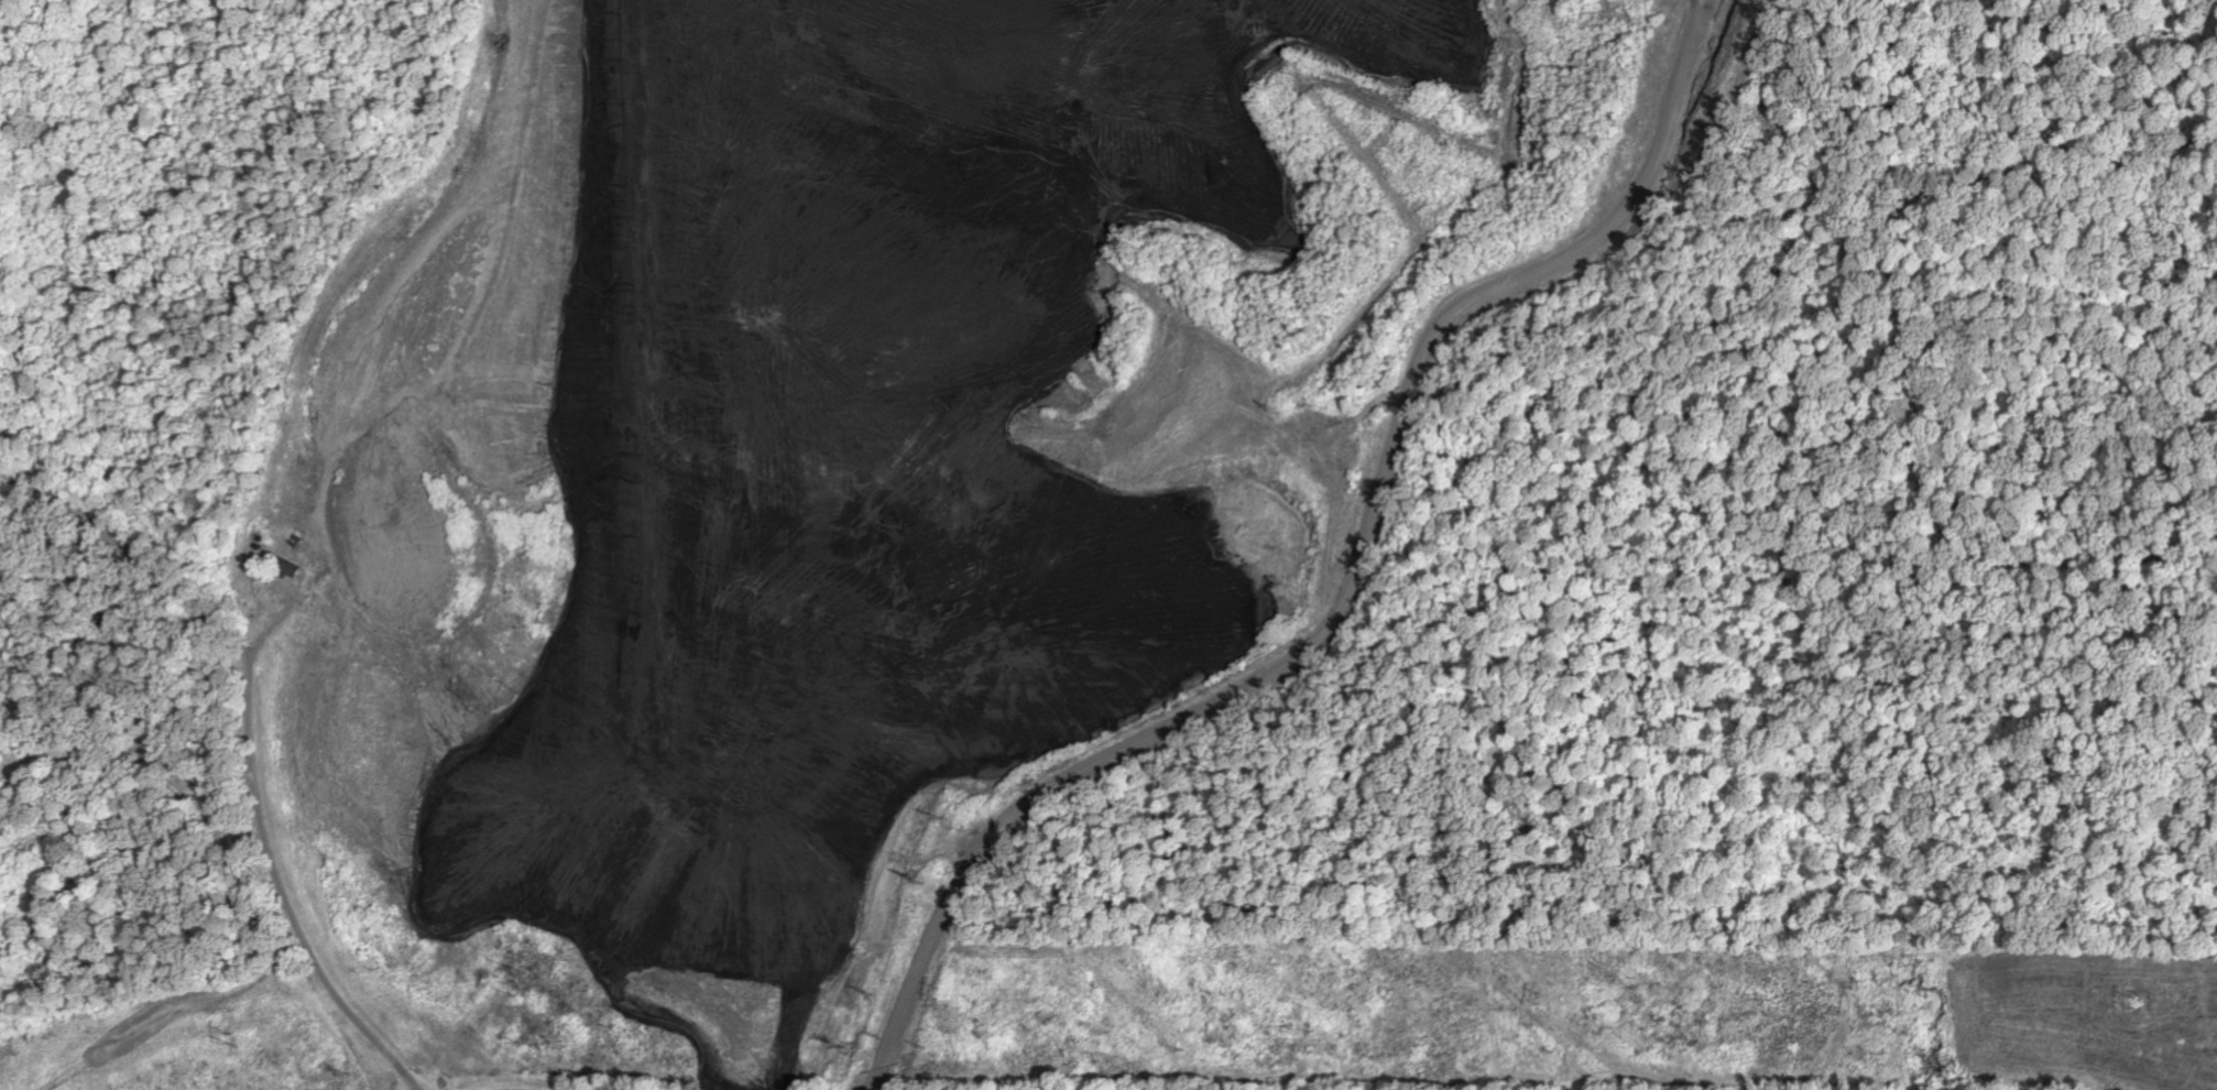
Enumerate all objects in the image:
road: (1357, 571)
road: (251, 737)
power tower: (521, 985)
power tower: (940, 987)
power tower: (2134, 995)
power tower: (1541, 996)
power tower: (231, 1036)

